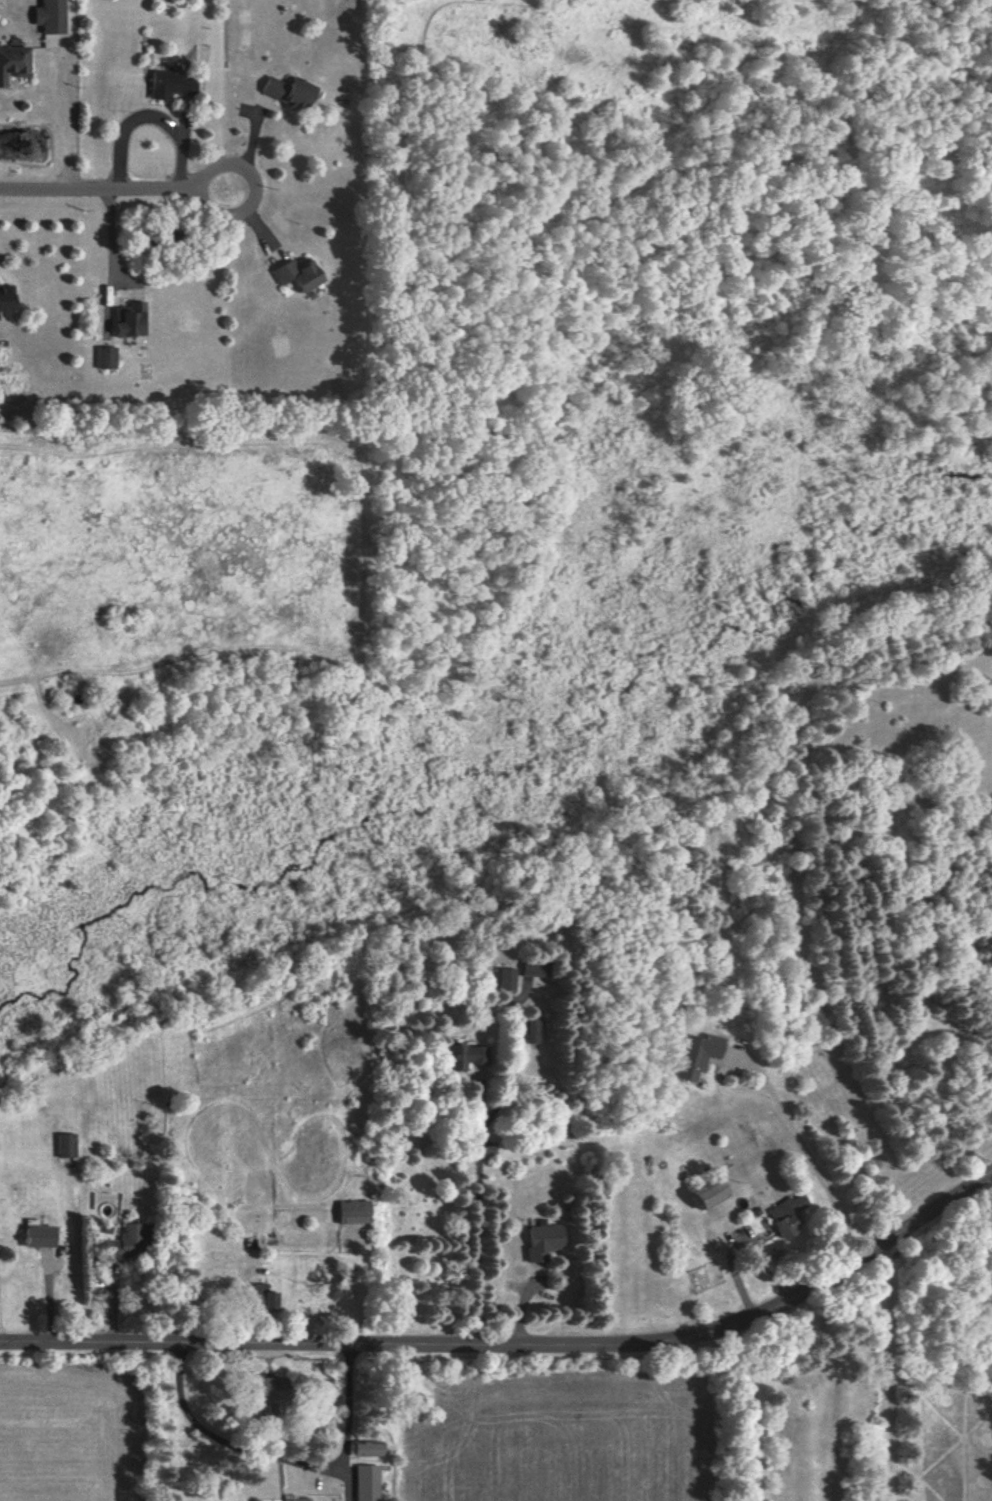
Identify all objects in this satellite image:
building: (49, 16)
building: (13, 62)
building: (170, 84)
building: (288, 91)
road: (153, 112)
road: (111, 189)
road: (102, 261)
building: (296, 274)
building: (129, 319)
building: (105, 357)
building: (533, 969)
building: (504, 979)
building: (527, 1030)
building: (694, 1055)
building: (464, 1056)
building: (64, 1145)
road: (805, 1153)
building: (706, 1193)
building: (353, 1212)
building: (785, 1214)
building: (38, 1236)
building: (129, 1241)
building: (541, 1241)
building: (261, 1297)
road: (518, 1346)
road: (890, 1372)
building: (269, 1395)
road: (753, 1413)
building: (365, 1448)
road: (277, 1457)
building: (365, 1483)
building: (302, 1499)

